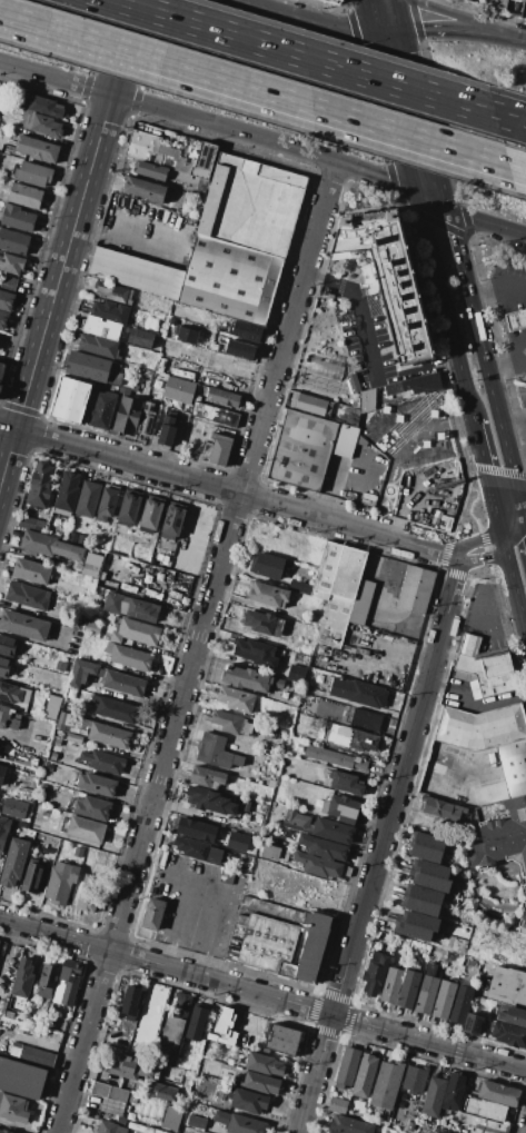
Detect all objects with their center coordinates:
building: (523, 0)
building: (334, 1)
road: (247, 2)
building: (496, 3)
road: (366, 4)
building: (525, 6)
road: (458, 14)
road: (401, 16)
road: (416, 19)
road: (300, 20)
road: (353, 21)
road: (371, 22)
road: (456, 29)
traffic signals: (406, 31)
road: (390, 32)
traffic signals: (375, 34)
road: (516, 37)
road: (299, 54)
road: (179, 66)
road: (54, 78)
building: (41, 105)
road: (395, 112)
road: (506, 116)
road: (427, 119)
building: (40, 123)
road: (264, 139)
road: (424, 139)
building: (142, 146)
building: (36, 148)
building: (167, 156)
building: (204, 160)
road: (507, 163)
building: (151, 171)
building: (32, 175)
building: (143, 189)
traffic signals: (416, 191)
building: (24, 196)
building: (251, 206)
traffic signals: (449, 208)
road: (468, 217)
building: (17, 218)
road: (128, 237)
building: (13, 241)
road: (68, 242)
building: (11, 264)
building: (137, 274)
building: (389, 279)
building: (230, 281)
road: (495, 281)
building: (8, 282)
building: (115, 292)
road: (349, 296)
building: (6, 300)
road: (444, 302)
building: (110, 311)
building: (3, 319)
building: (515, 319)
building: (101, 327)
building: (247, 331)
building: (187, 334)
building: (140, 337)
building: (219, 344)
building: (98, 346)
building: (239, 349)
road: (483, 358)
building: (90, 367)
building: (324, 368)
road: (506, 368)
building: (1, 369)
building: (415, 385)
building: (0, 388)
building: (177, 389)
building: (220, 396)
building: (70, 400)
building: (367, 400)
building: (310, 404)
building: (99, 410)
building: (122, 414)
building: (214, 414)
road: (512, 414)
building: (143, 418)
road: (377, 425)
building: (163, 430)
building: (344, 439)
parking lot: (408, 439)
building: (218, 450)
building: (302, 450)
road: (517, 460)
road: (488, 477)
road: (394, 478)
building: (40, 484)
road: (227, 489)
building: (67, 494)
building: (88, 499)
building: (107, 503)
road: (524, 505)
building: (128, 509)
building: (151, 514)
road: (524, 516)
building: (172, 520)
building: (31, 524)
road: (514, 524)
road: (477, 540)
building: (49, 546)
road: (484, 555)
building: (267, 565)
building: (90, 570)
building: (339, 570)
building: (31, 572)
road: (515, 583)
building: (301, 588)
building: (416, 590)
building: (268, 594)
building: (319, 595)
building: (28, 596)
building: (361, 602)
building: (131, 608)
building: (76, 622)
building: (259, 622)
building: (334, 622)
building: (23, 625)
building: (92, 628)
building: (281, 628)
building: (136, 633)
building: (8, 646)
road: (197, 647)
building: (255, 653)
building: (128, 657)
building: (60, 666)
building: (4, 667)
building: (482, 668)
building: (81, 673)
building: (295, 673)
building: (247, 678)
building: (278, 683)
building: (123, 684)
building: (358, 692)
building: (12, 694)
building: (236, 699)
building: (51, 706)
building: (115, 709)
building: (87, 714)
building: (8, 718)
building: (366, 719)
building: (64, 720)
building: (86, 722)
building: (227, 722)
building: (479, 726)
building: (246, 728)
building: (109, 734)
building: (75, 738)
building: (359, 739)
road: (24, 742)
building: (0, 747)
building: (214, 751)
building: (52, 756)
building: (334, 757)
road: (440, 758)
building: (103, 761)
building: (238, 761)
building: (513, 765)
building: (1, 772)
building: (207, 777)
building: (345, 783)
building: (97, 784)
building: (210, 801)
building: (12, 807)
building: (93, 808)
building: (340, 808)
building: (441, 808)
building: (296, 821)
building: (193, 828)
building: (86, 829)
building: (3, 831)
building: (333, 831)
building: (502, 835)
building: (236, 841)
building: (427, 841)
road: (381, 844)
building: (191, 847)
building: (322, 847)
building: (78, 852)
building: (270, 852)
building: (424, 853)
building: (214, 855)
building: (13, 863)
building: (318, 865)
building: (430, 868)
building: (346, 872)
building: (31, 876)
building: (226, 876)
building: (430, 882)
building: (60, 883)
building: (89, 893)
building: (423, 893)
road: (220, 902)
building: (419, 906)
building: (152, 914)
building: (523, 918)
building: (418, 920)
road: (179, 923)
building: (411, 931)
building: (279, 938)
road: (7, 948)
building: (375, 973)
building: (22, 978)
building: (47, 981)
building: (391, 985)
building: (67, 986)
building: (507, 986)
building: (407, 988)
road: (262, 994)
building: (426, 994)
building: (444, 1000)
building: (131, 1001)
building: (460, 1005)
building: (8, 1014)
building: (513, 1016)
building: (195, 1022)
building: (473, 1024)
building: (173, 1026)
building: (225, 1026)
building: (509, 1034)
building: (282, 1040)
building: (31, 1055)
building: (264, 1064)
building: (347, 1067)
building: (129, 1070)
building: (365, 1075)
building: (21, 1077)
building: (414, 1080)
building: (260, 1083)
building: (386, 1084)
building: (160, 1091)
building: (454, 1091)
building: (109, 1092)
building: (498, 1094)
building: (433, 1097)
building: (247, 1101)
building: (337, 1105)
building: (13, 1109)
building: (484, 1110)
building: (171, 1117)
building: (221, 1117)
building: (196, 1122)
building: (245, 1125)
building: (349, 1125)
building: (478, 1125)
building: (136, 1126)
building: (110, 1127)
building: (6, 1131)
building: (331, 1132)

